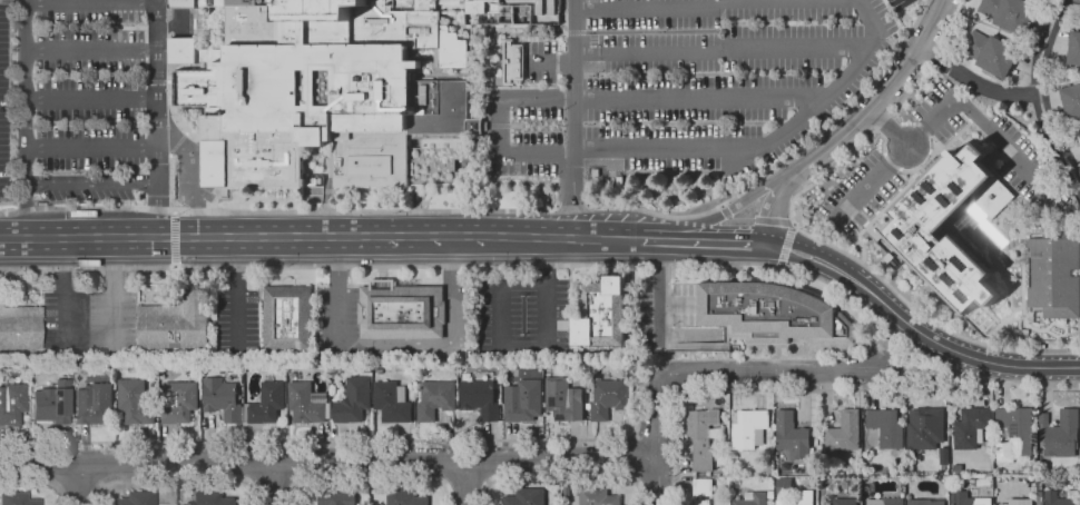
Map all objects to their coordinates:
road: (90, 2)
road: (650, 9)
building: (1079, 9)
building: (1009, 13)
road: (1043, 44)
building: (1074, 48)
road: (90, 50)
building: (179, 50)
road: (719, 50)
road: (863, 51)
building: (991, 53)
building: (512, 61)
parking lot: (699, 80)
road: (974, 85)
road: (575, 88)
building: (337, 90)
parking lot: (4, 99)
parking lot: (88, 100)
road: (90, 100)
building: (1071, 101)
road: (945, 110)
road: (156, 118)
road: (24, 119)
road: (855, 122)
road: (890, 127)
road: (500, 133)
building: (1079, 135)
road: (1057, 143)
road: (150, 147)
road: (786, 161)
road: (89, 182)
road: (570, 207)
road: (572, 207)
road: (87, 208)
road: (367, 210)
road: (730, 211)
road: (754, 219)
building: (919, 226)
road: (806, 234)
road: (419, 236)
road: (218, 237)
road: (30, 238)
road: (80, 238)
road: (175, 239)
road: (570, 239)
road: (705, 242)
road: (786, 246)
road: (814, 247)
road: (66, 253)
road: (115, 253)
road: (548, 261)
road: (808, 263)
road: (557, 266)
street lamp: (73, 267)
building: (85, 271)
building: (1056, 273)
road: (156, 281)
road: (548, 291)
road: (659, 293)
road: (237, 295)
building: (402, 311)
building: (772, 313)
building: (601, 314)
road: (66, 315)
road: (114, 315)
road: (499, 316)
building: (287, 318)
parking lot: (114, 320)
parking lot: (66, 321)
parking lot: (238, 321)
building: (176, 323)
building: (20, 327)
road: (396, 345)
road: (523, 346)
road: (953, 351)
road: (775, 372)
road: (669, 384)
road: (720, 390)
road: (874, 390)
road: (675, 393)
building: (609, 398)
building: (222, 399)
building: (435, 399)
building: (480, 399)
building: (563, 399)
building: (523, 400)
building: (136, 402)
building: (179, 402)
building: (353, 402)
building: (392, 402)
building: (12, 403)
building: (52, 403)
building: (94, 403)
building: (267, 403)
building: (306, 403)
building: (886, 427)
building: (971, 427)
building: (748, 428)
building: (925, 428)
building: (1015, 429)
building: (843, 434)
building: (1059, 434)
road: (637, 436)
building: (701, 436)
building: (792, 436)
road: (345, 440)
road: (657, 440)
road: (639, 458)
building: (910, 459)
road: (328, 461)
building: (726, 472)
road: (370, 478)
road: (562, 478)
road: (465, 479)
road: (176, 481)
road: (273, 481)
road: (488, 481)
road: (637, 481)
road: (38, 482)
road: (80, 482)
road: (443, 482)
road: (80, 483)
road: (102, 483)
road: (252, 483)
road: (273, 483)
road: (294, 483)
road: (465, 483)
building: (1052, 483)
road: (58, 485)
building: (785, 487)
building: (703, 489)
building: (1033, 491)
building: (567, 492)
building: (770, 495)
building: (336, 497)
building: (405, 497)
building: (526, 497)
building: (598, 497)
building: (1062, 497)
building: (137, 498)
building: (212, 498)
building: (753, 498)
building: (799, 498)
building: (1040, 498)
building: (17, 499)
building: (968, 499)
building: (845, 502)
building: (885, 502)
building: (925, 502)
building: (1019, 502)

